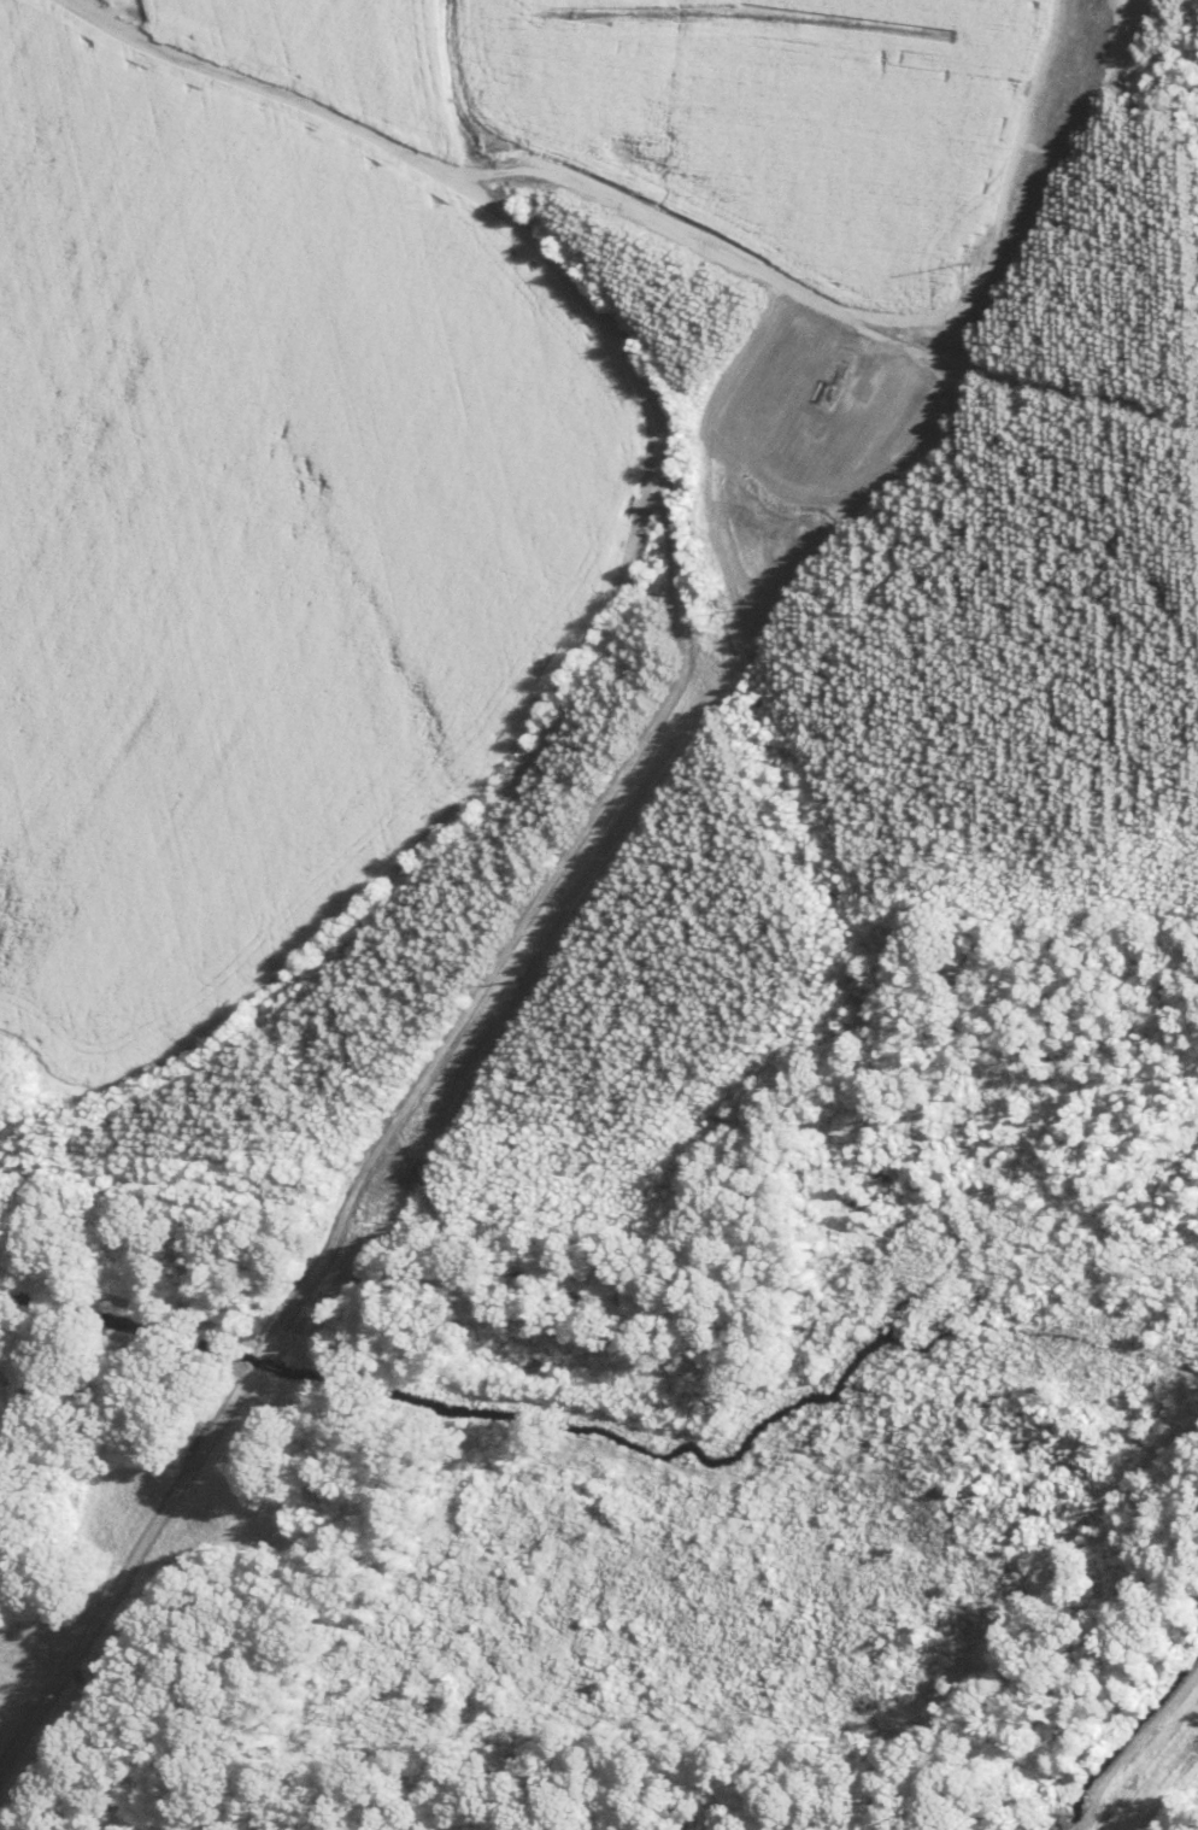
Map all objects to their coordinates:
road: (248, 78)

